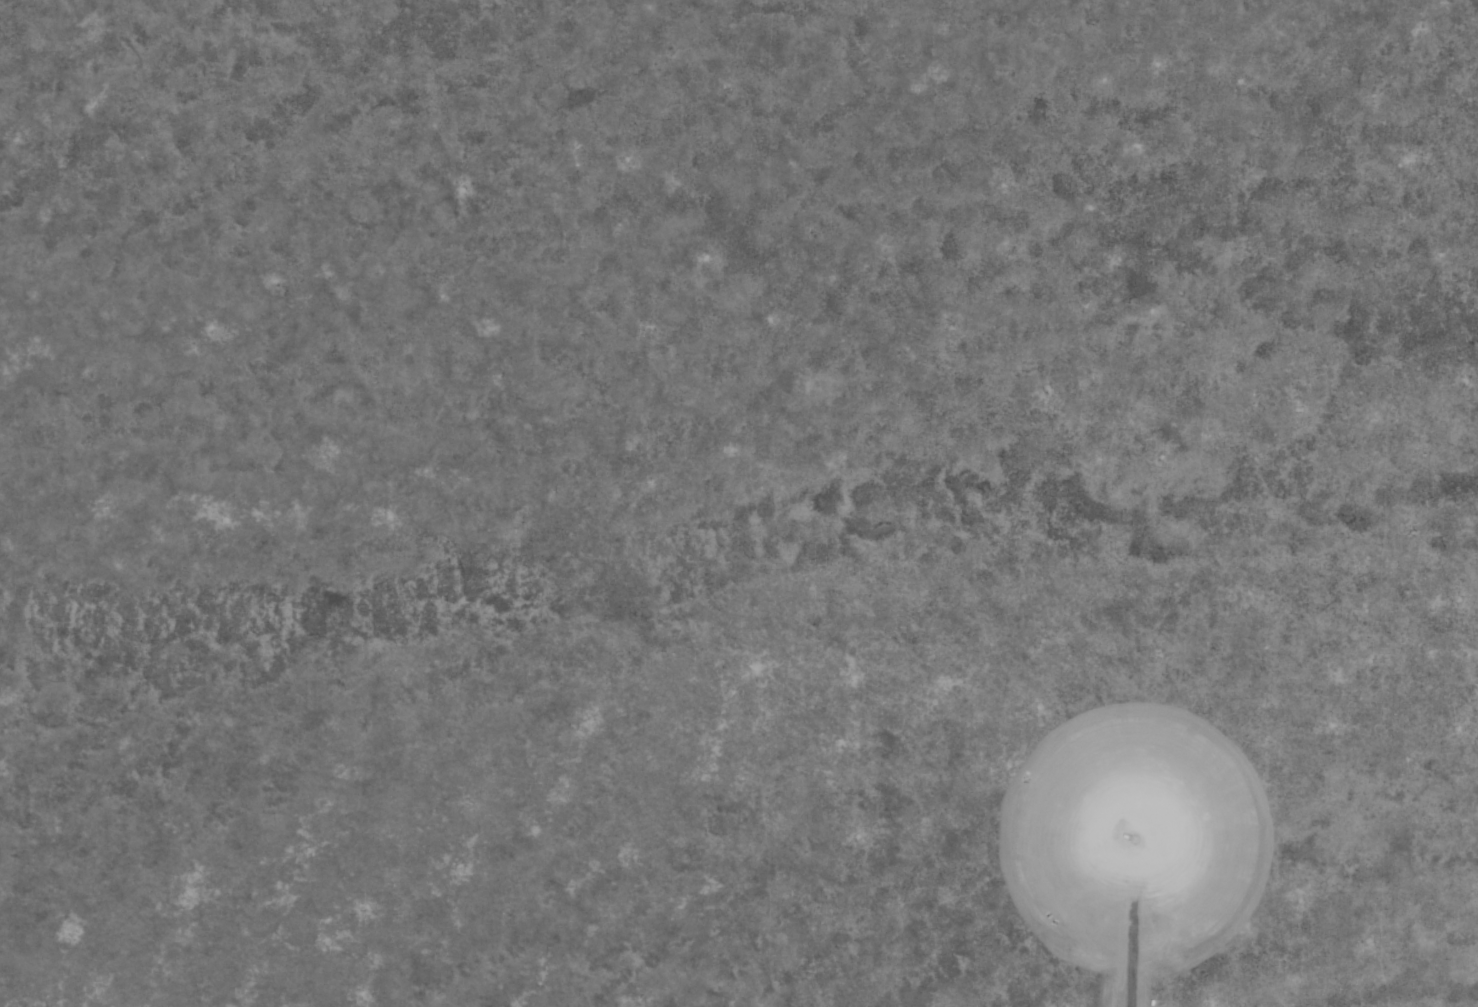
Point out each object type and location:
wind turbine: (1130, 835)

